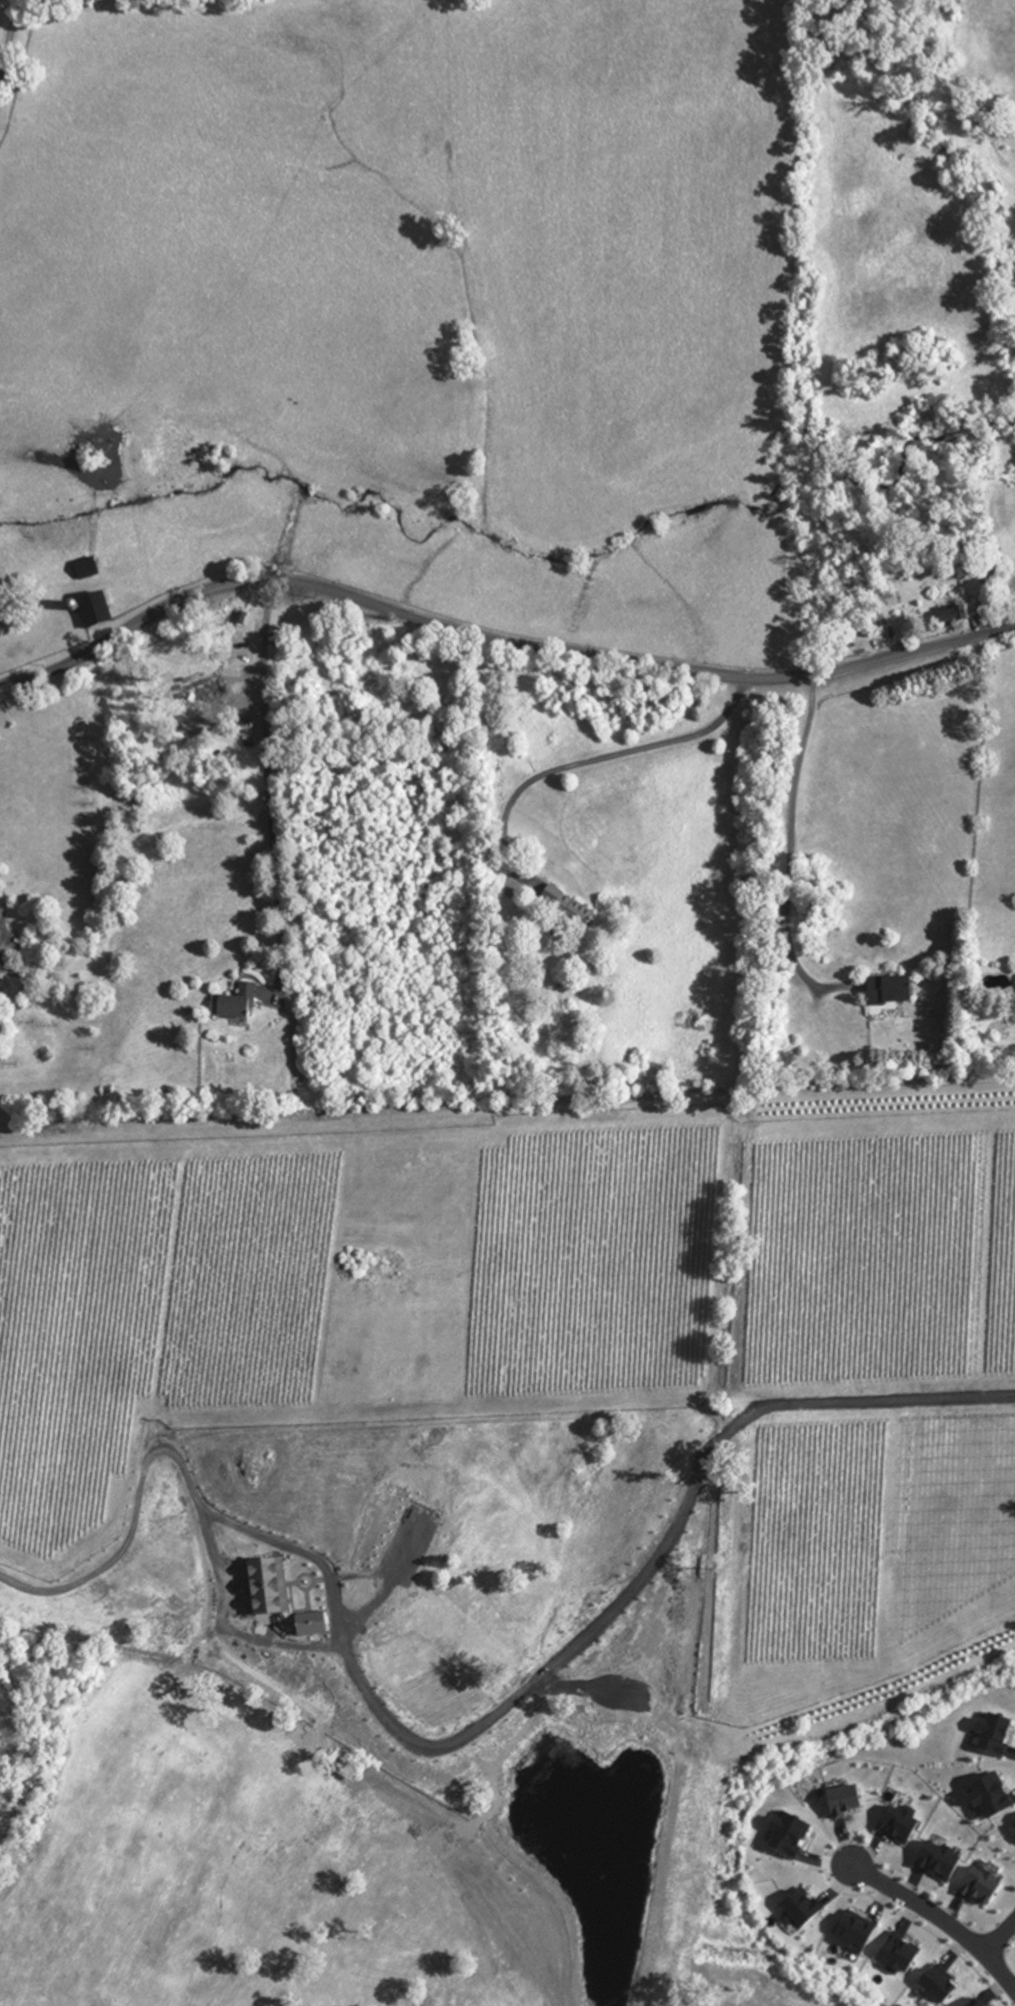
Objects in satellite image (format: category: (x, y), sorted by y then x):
road: (18, 0)
road: (8, 39)
building: (88, 573)
building: (990, 575)
building: (95, 610)
building: (954, 617)
road: (496, 637)
road: (591, 758)
road: (267, 780)
road: (788, 842)
road: (0, 908)
building: (567, 909)
building: (2, 960)
building: (891, 992)
building: (237, 1005)
road: (129, 1527)
road: (652, 1563)
building: (273, 1585)
road: (328, 1641)
road: (903, 1913)
road: (941, 1917)
road: (1000, 1935)

